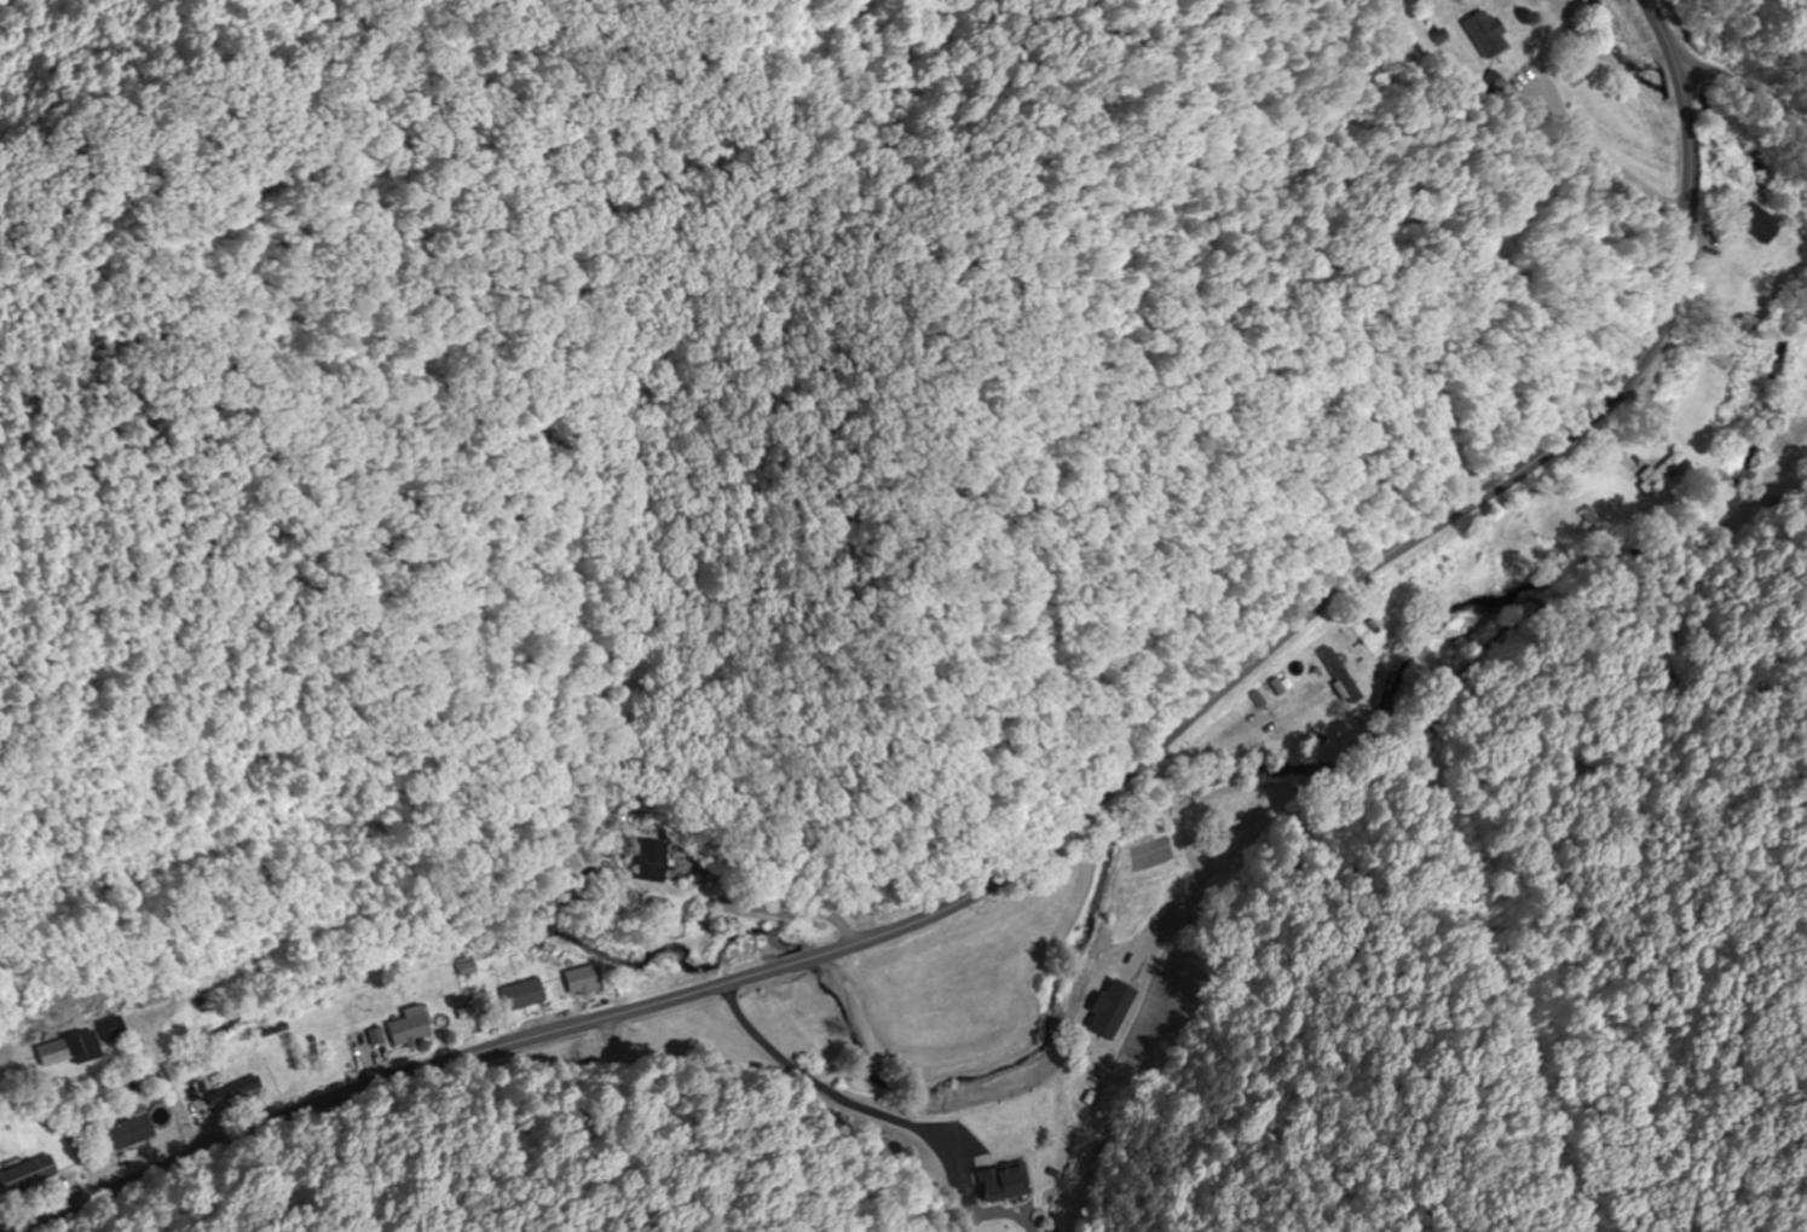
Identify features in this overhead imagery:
building: (1454, 0)
building: (1485, 34)
road: (1743, 83)
building: (1751, 219)
road: (1732, 360)
building: (1663, 473)
building: (1413, 591)
building: (1338, 672)
road: (1062, 829)
building: (654, 860)
building: (588, 981)
building: (526, 995)
building: (210, 1003)
building: (412, 1026)
building: (1108, 1042)
building: (85, 1046)
building: (232, 1093)
building: (132, 1132)
building: (999, 1161)
building: (29, 1174)

